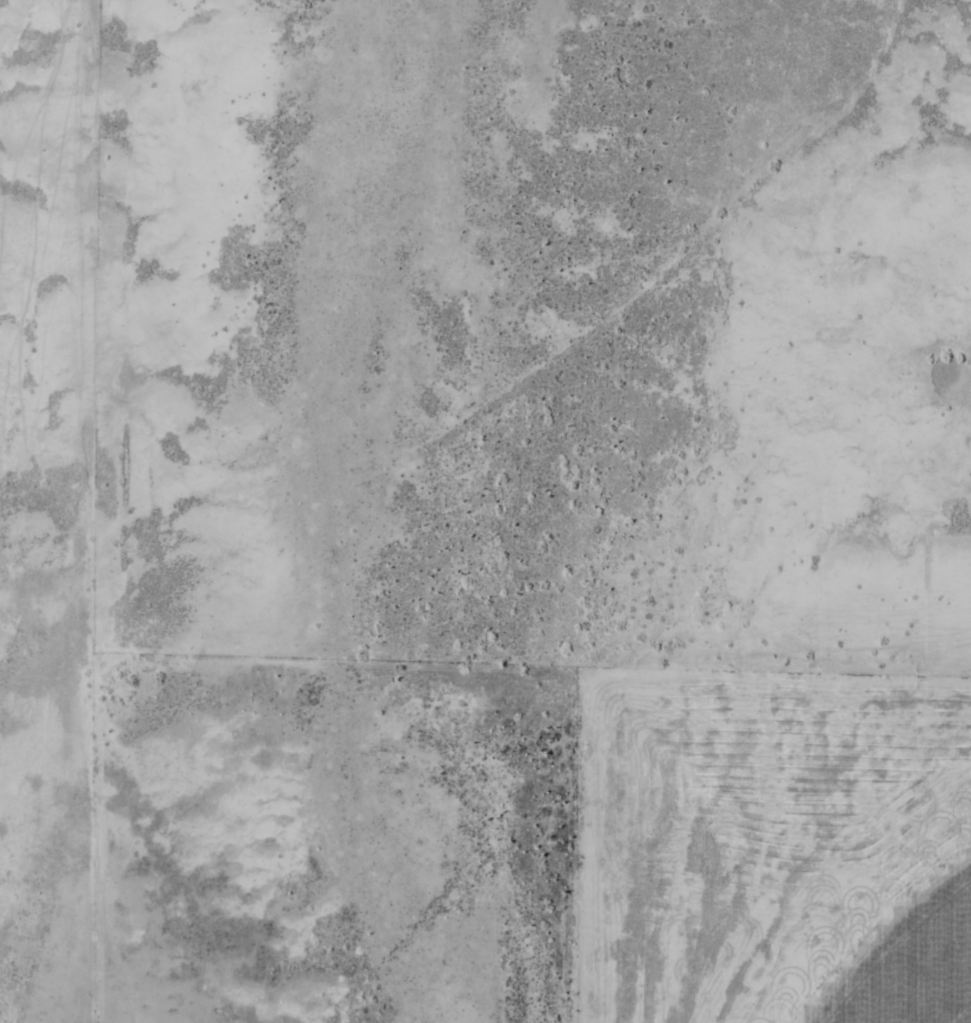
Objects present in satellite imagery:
crop: (913, 965)

